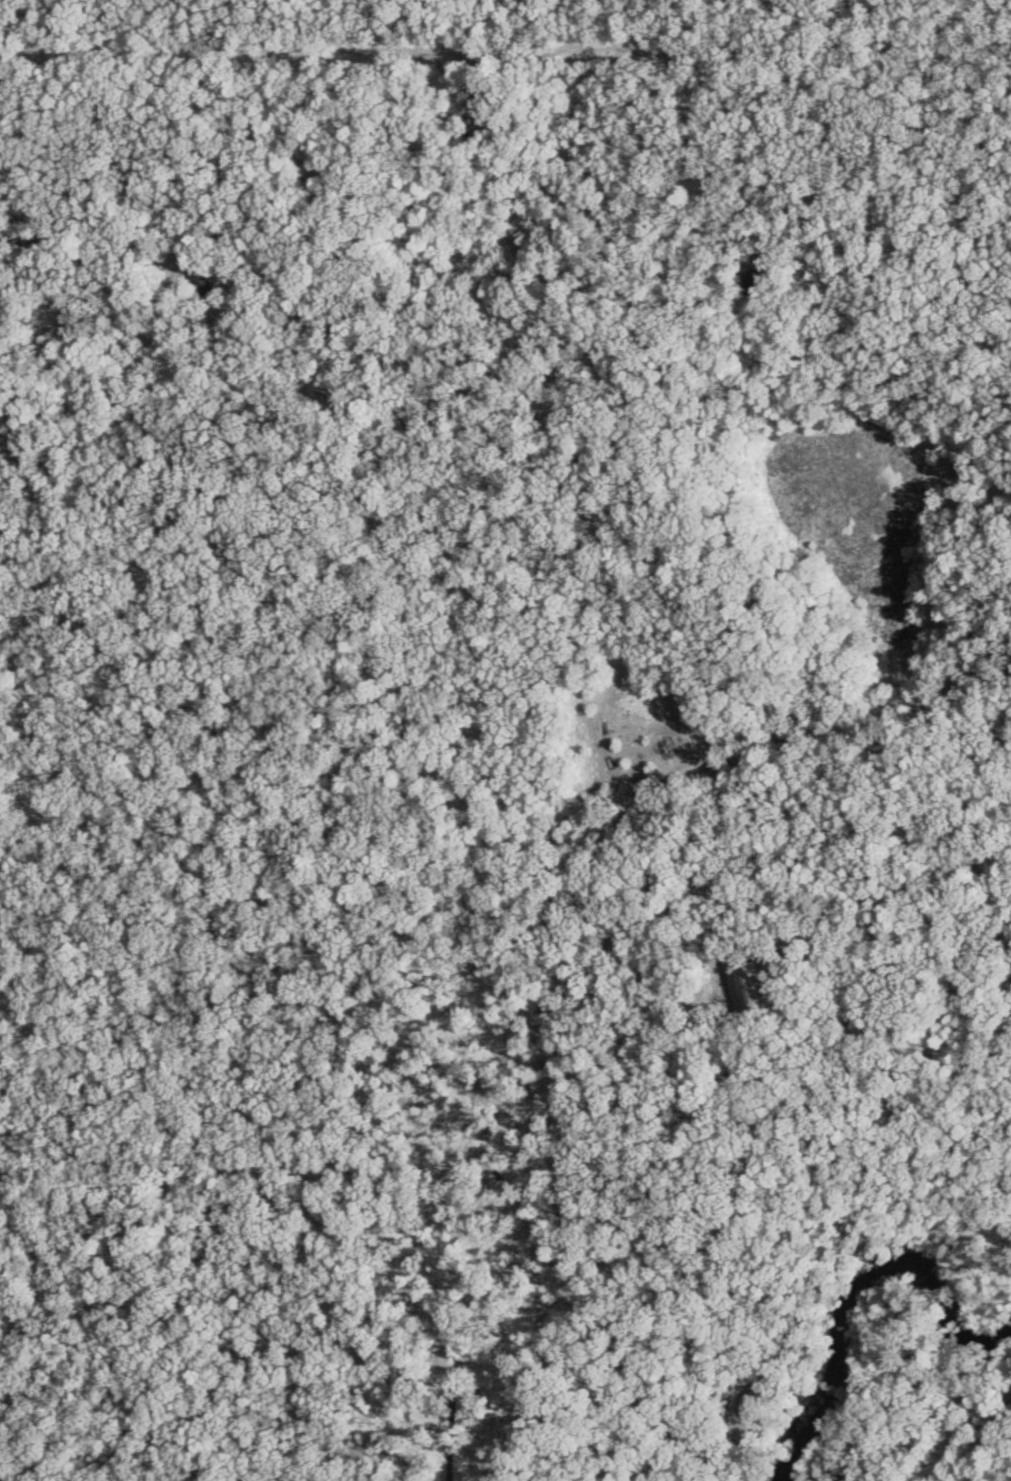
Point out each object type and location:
road: (404, 10)
building: (485, 101)
building: (191, 270)
river: (855, 1284)
road: (65, 1306)

